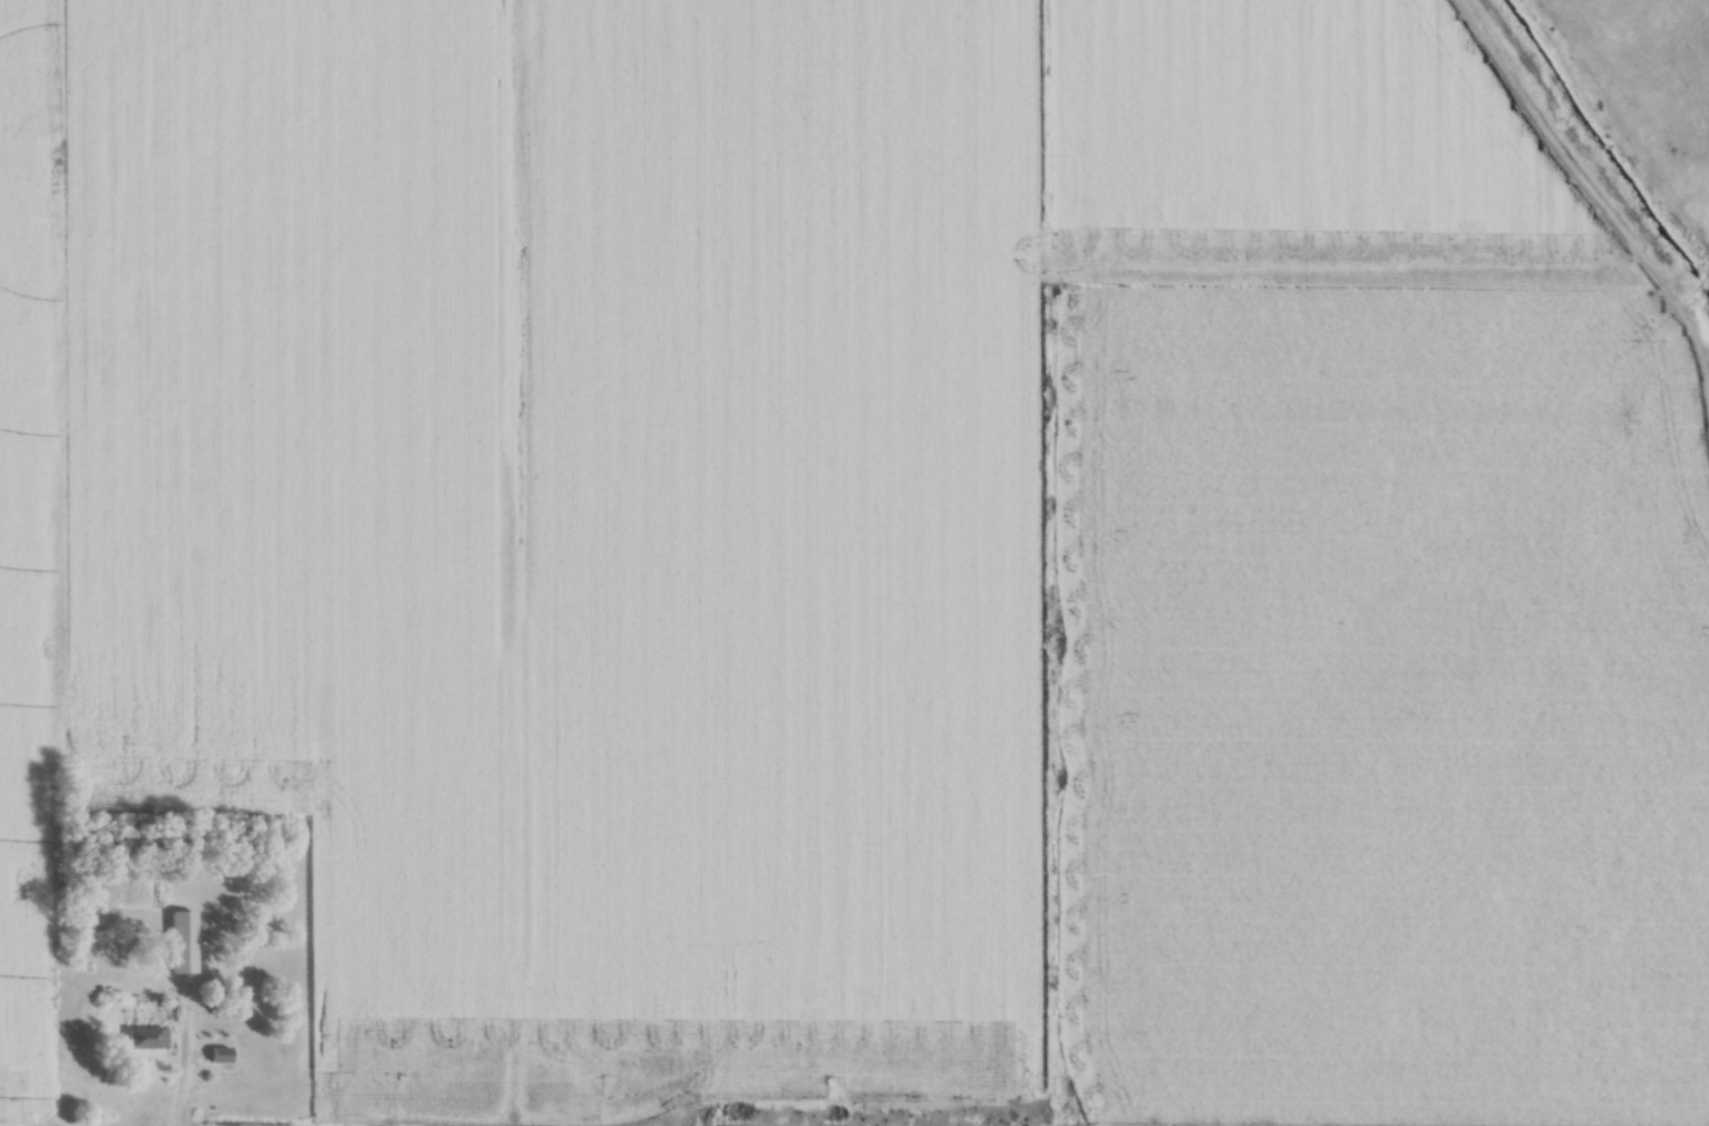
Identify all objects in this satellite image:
building: (184, 943)
building: (147, 1039)
road: (185, 1054)
building: (220, 1055)

